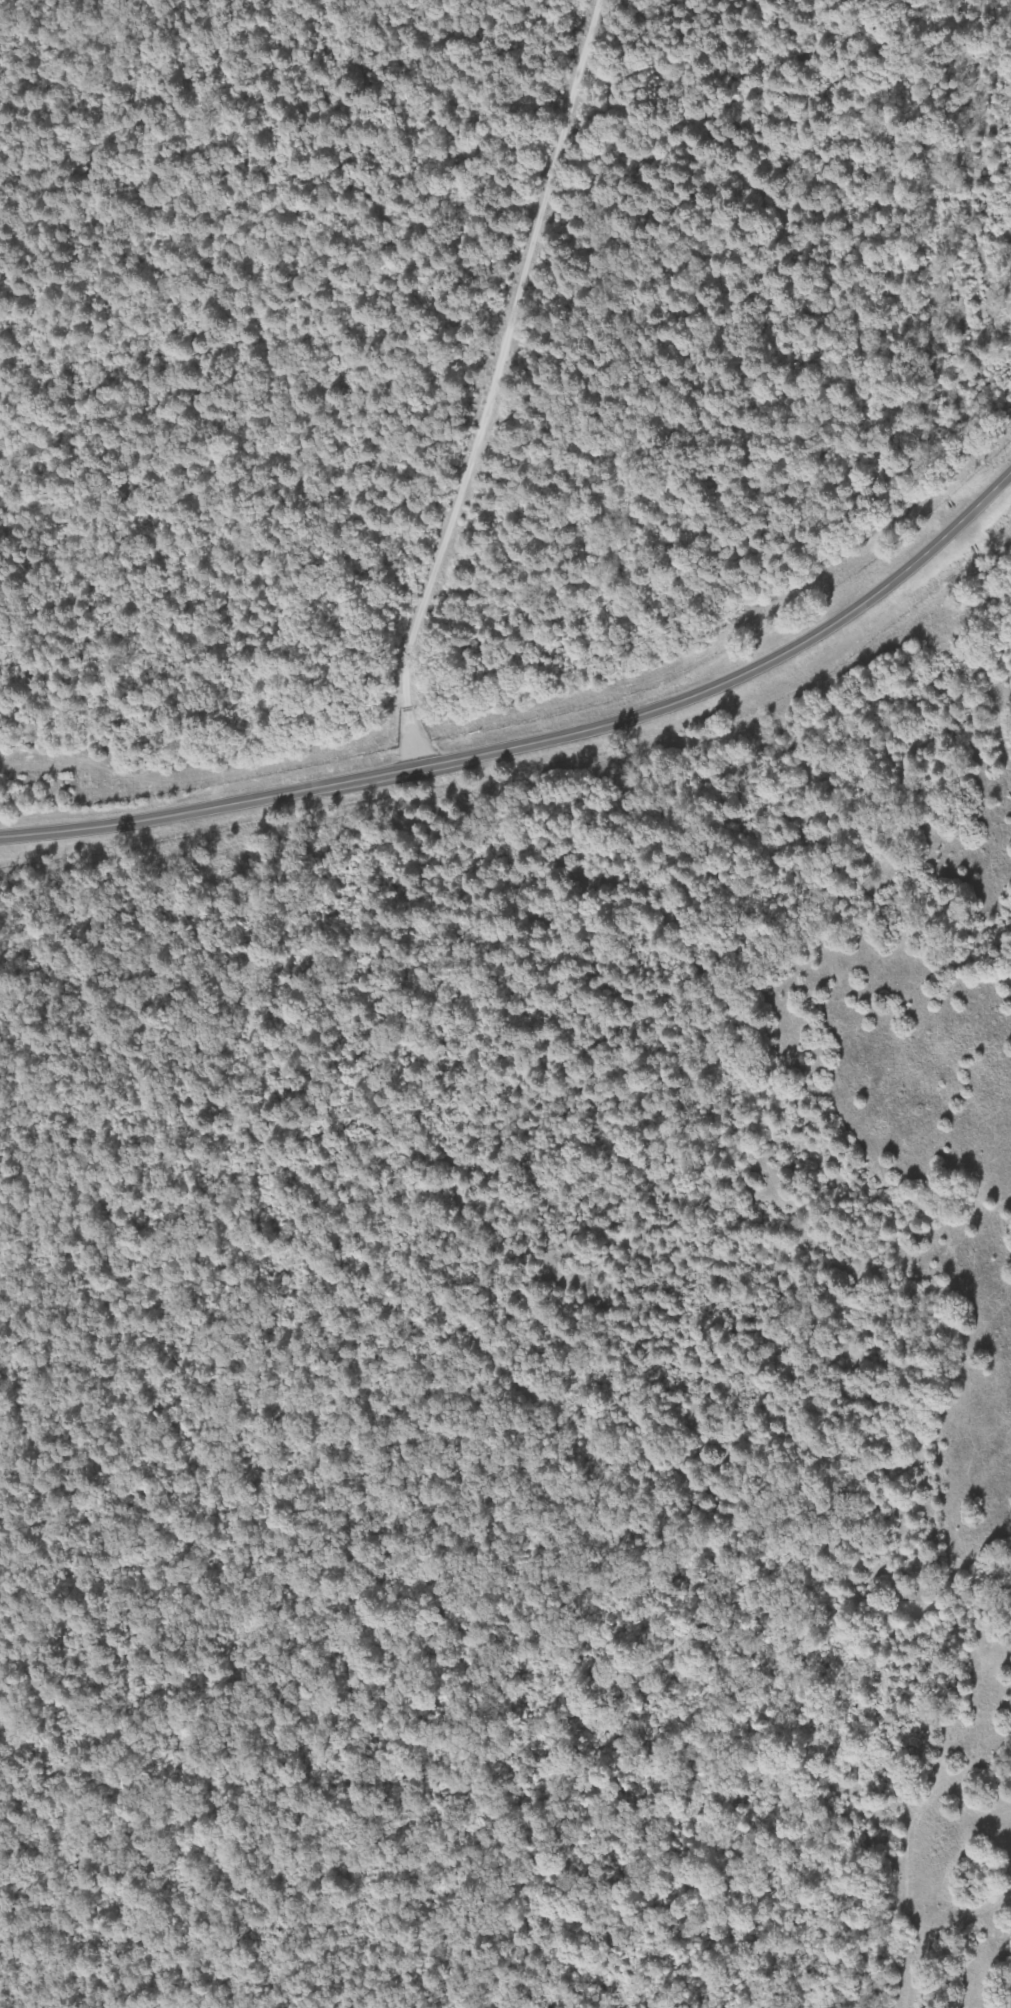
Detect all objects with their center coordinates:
road: (492, 384)
road: (541, 739)

